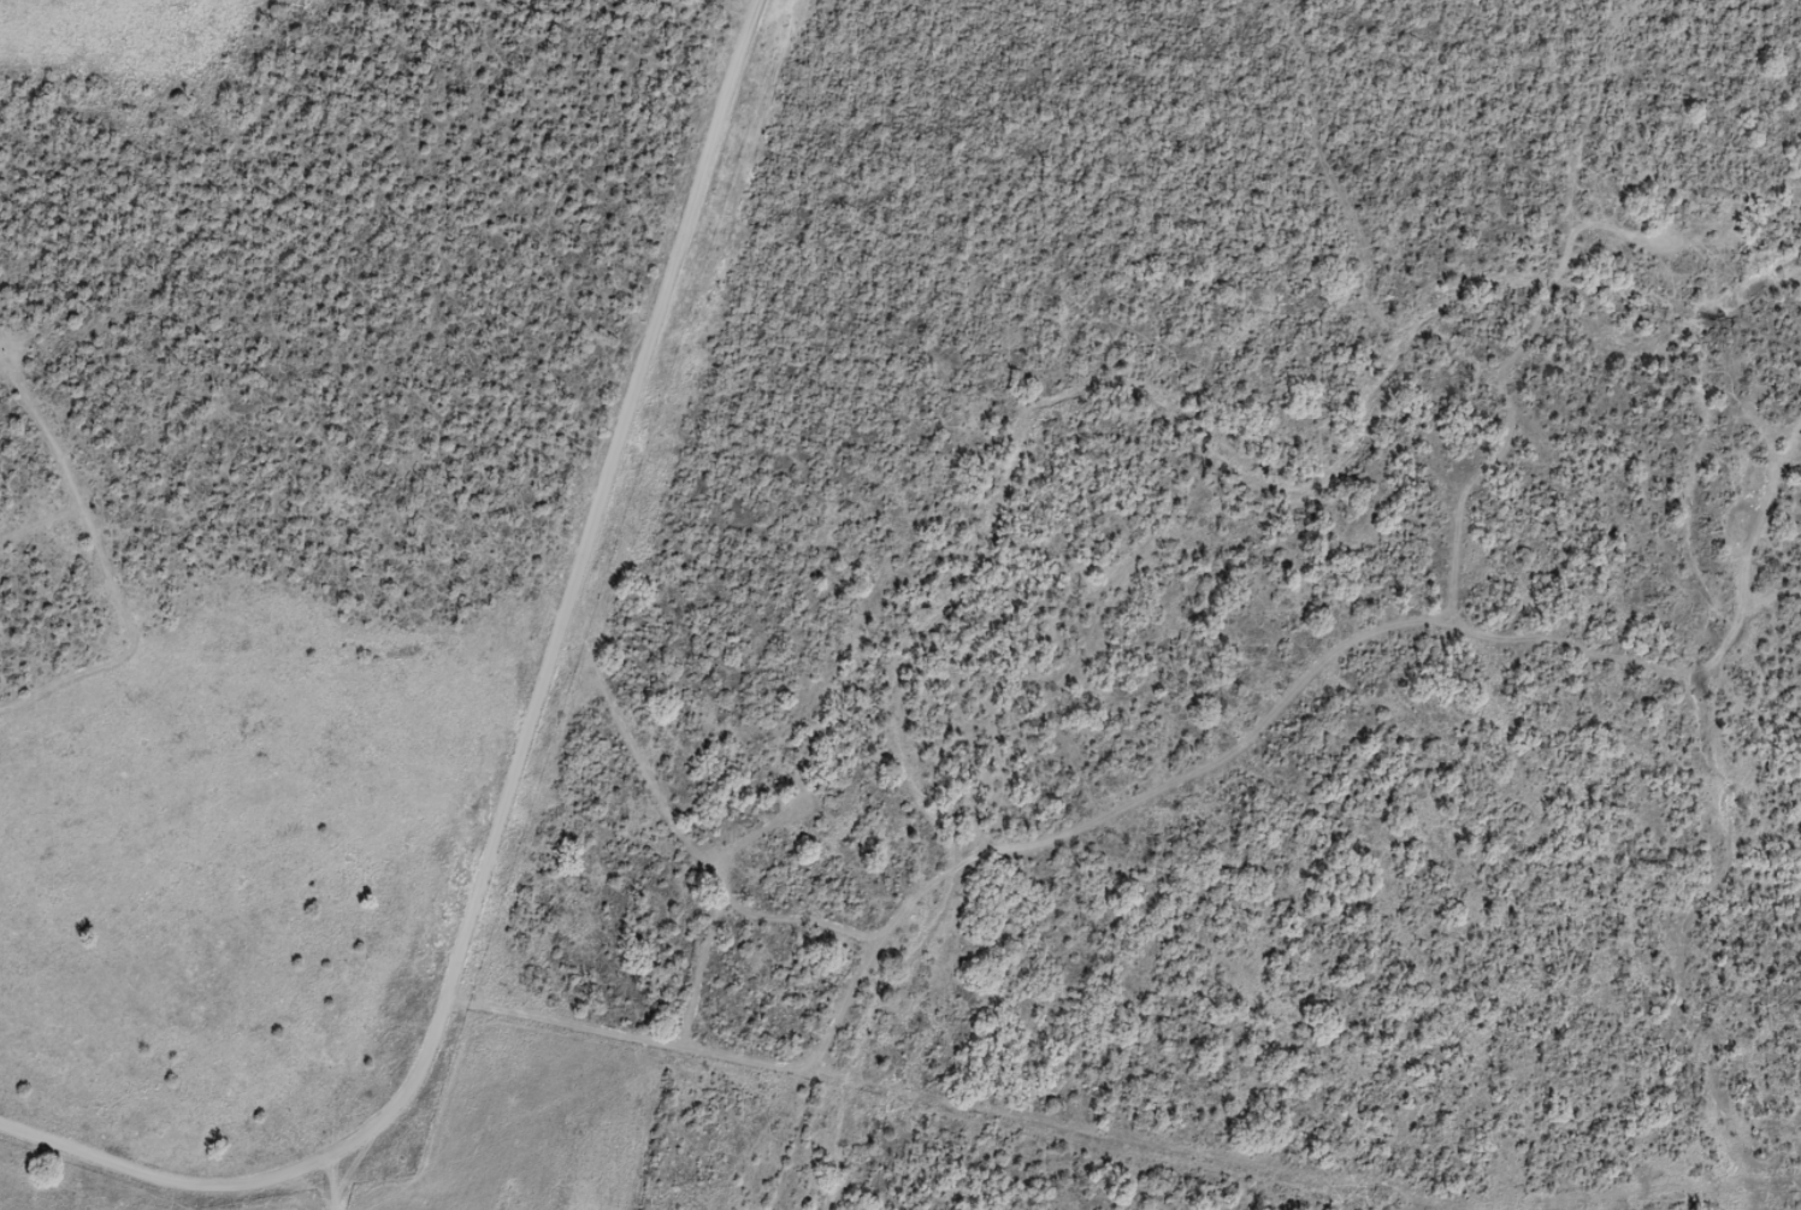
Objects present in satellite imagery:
road: (519, 761)

